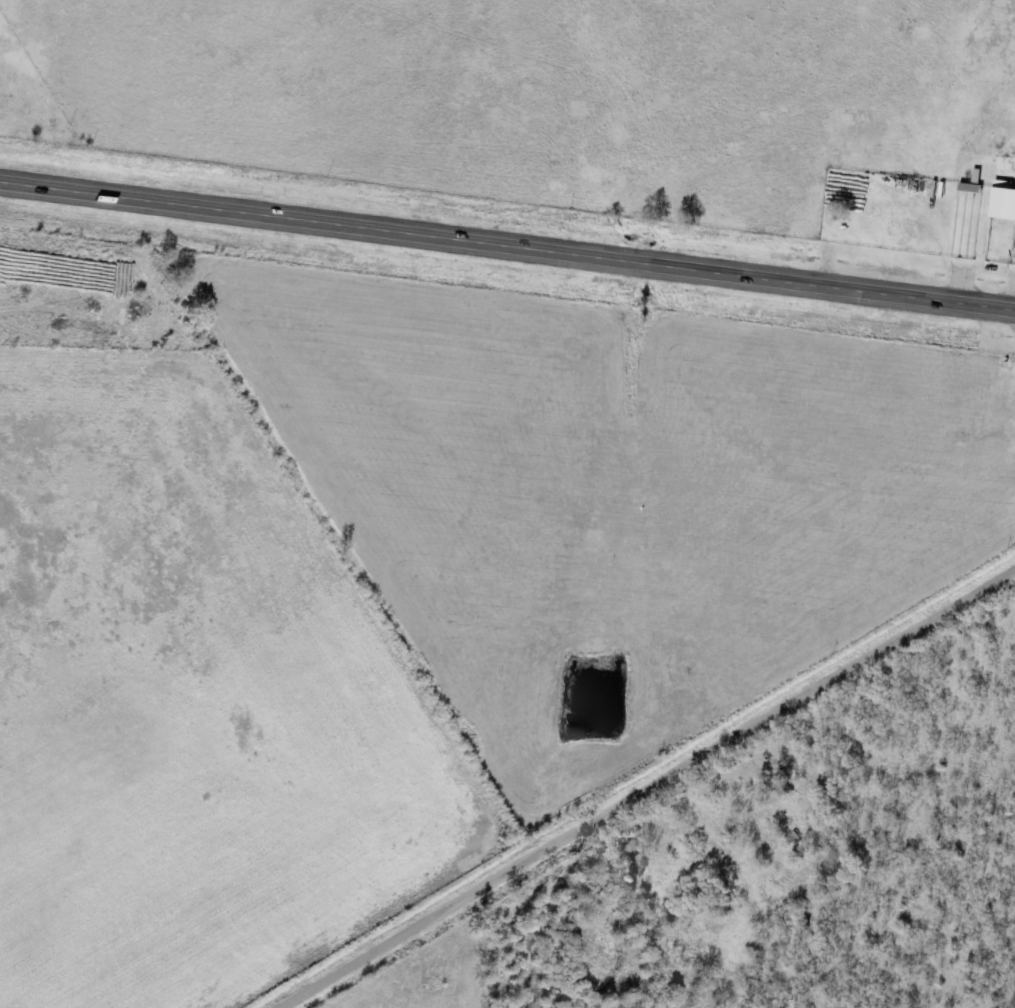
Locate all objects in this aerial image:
building: (1002, 204)
road: (507, 239)
road: (652, 791)

